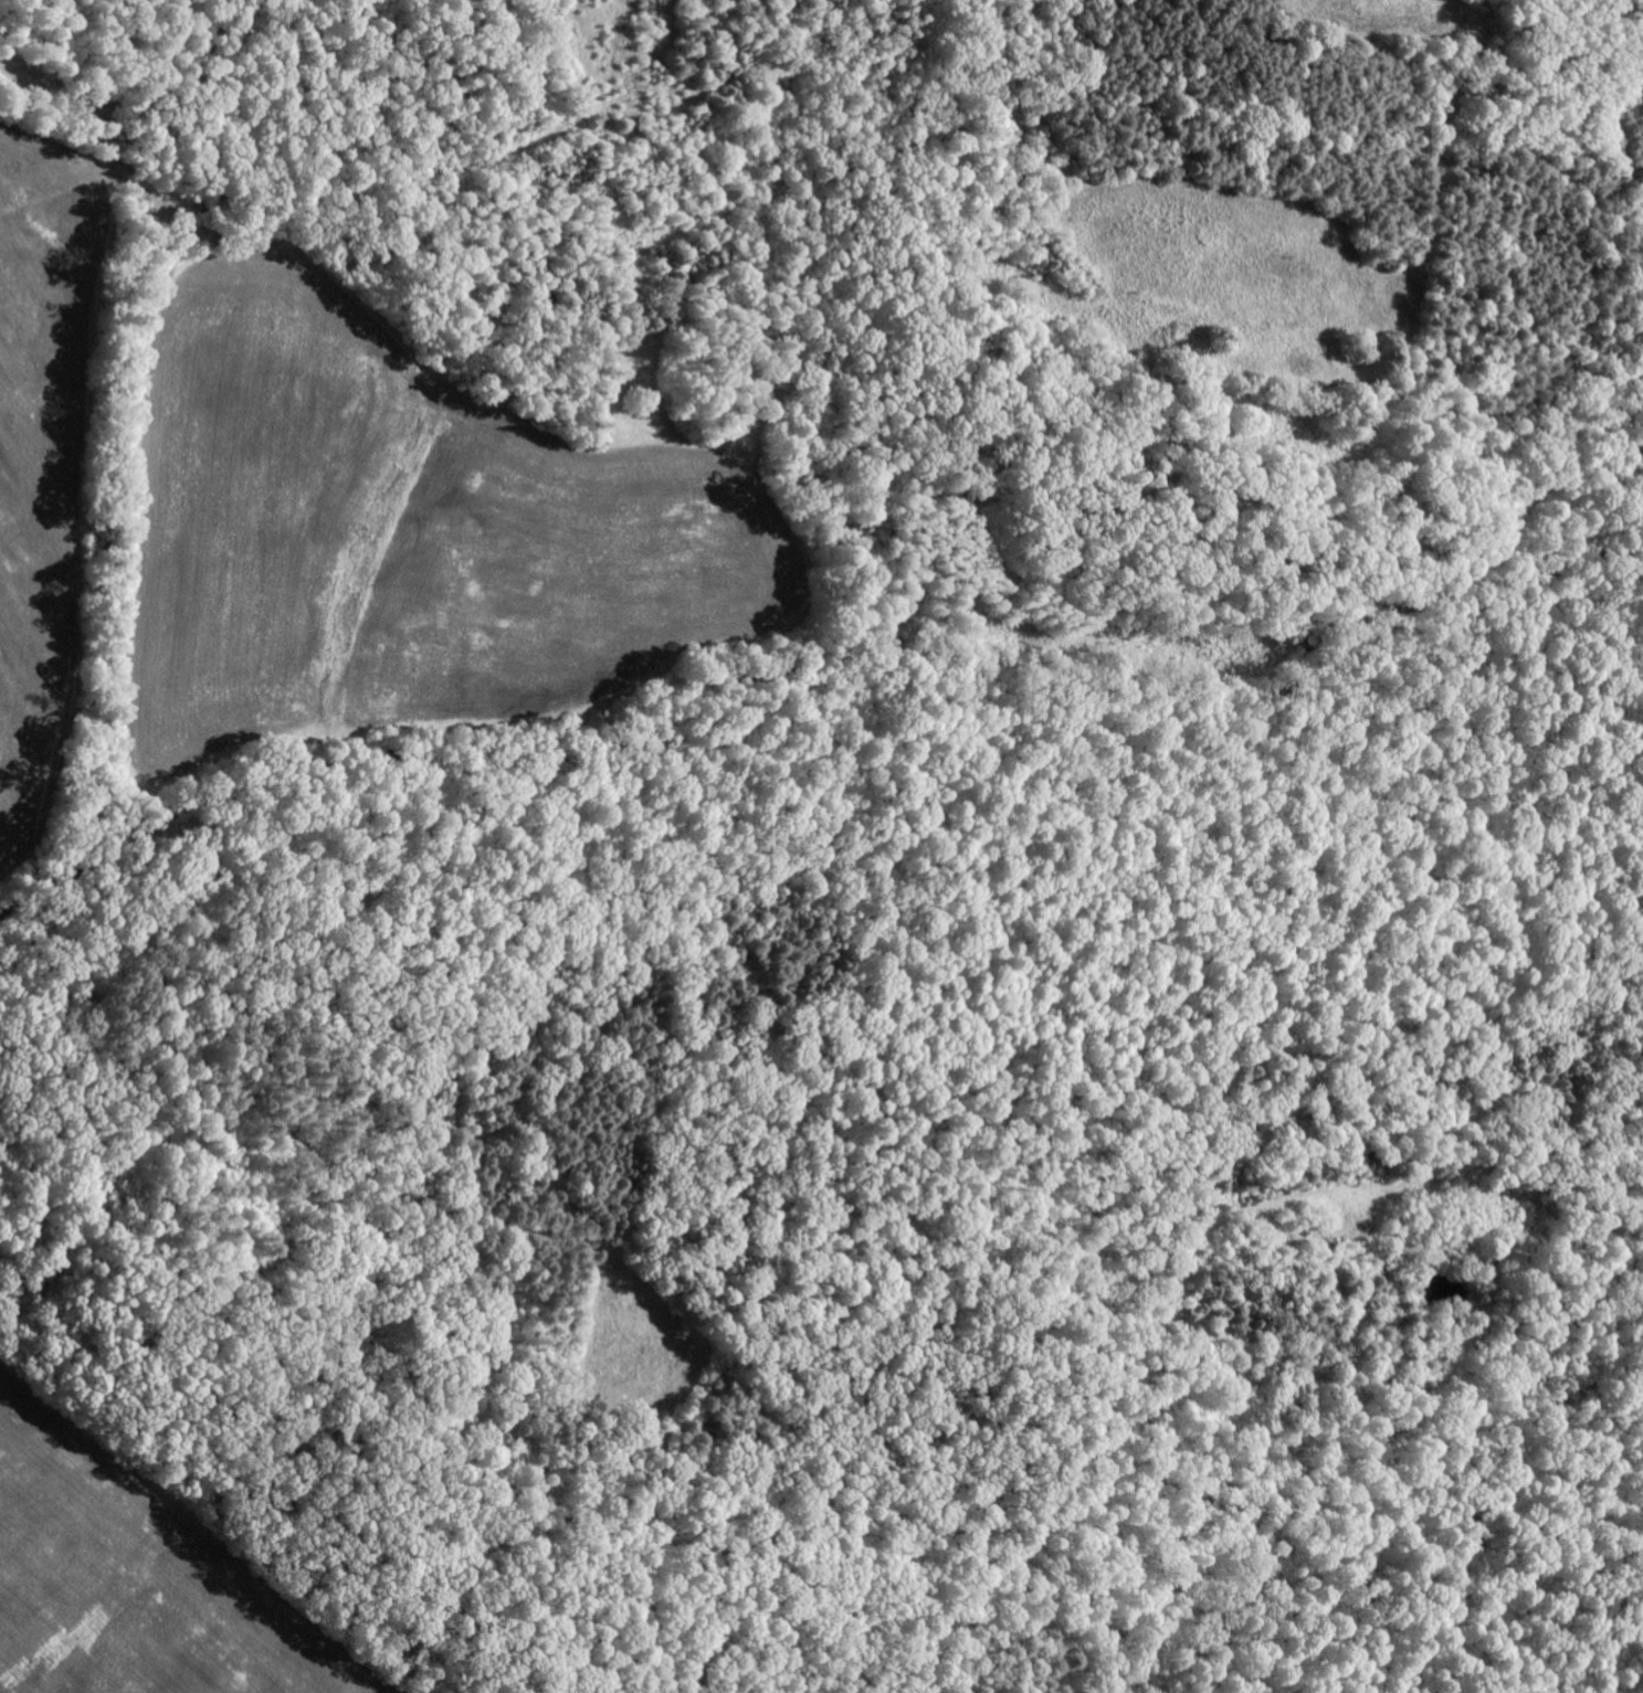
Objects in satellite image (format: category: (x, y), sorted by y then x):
road: (522, 33)

